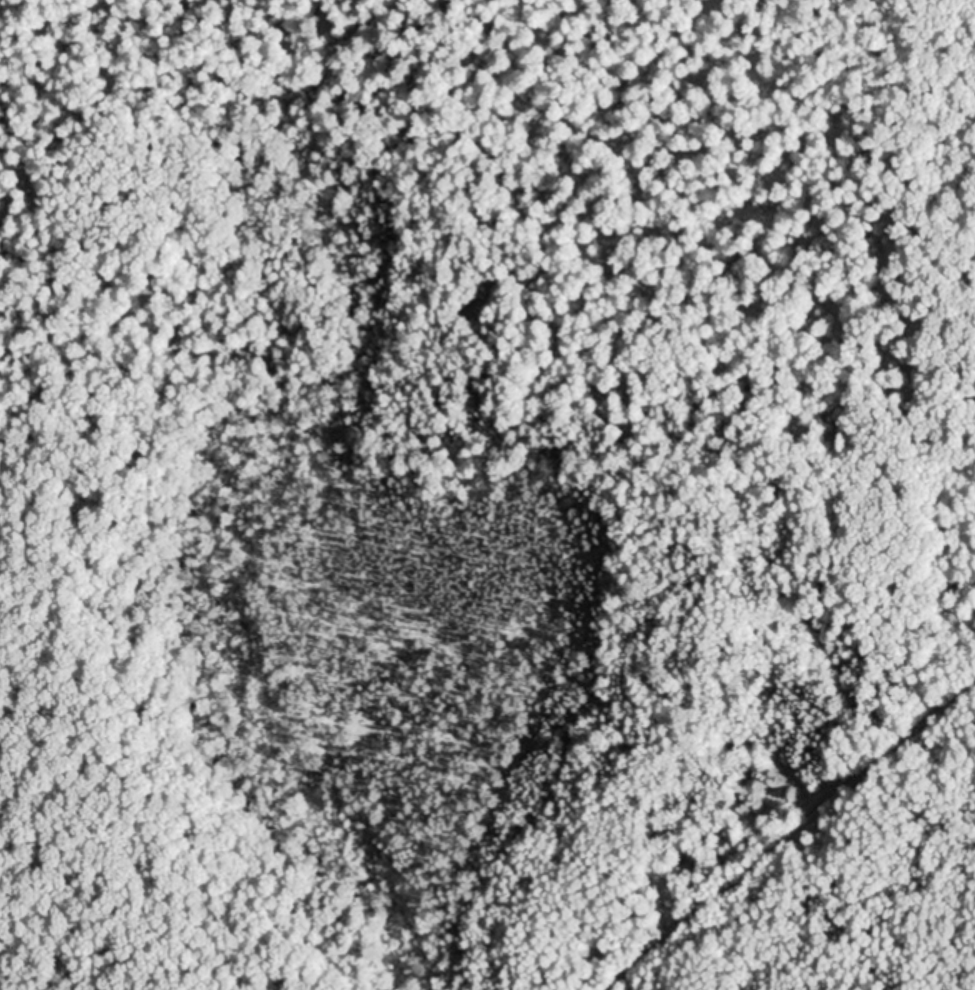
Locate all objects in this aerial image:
road: (780, 840)

